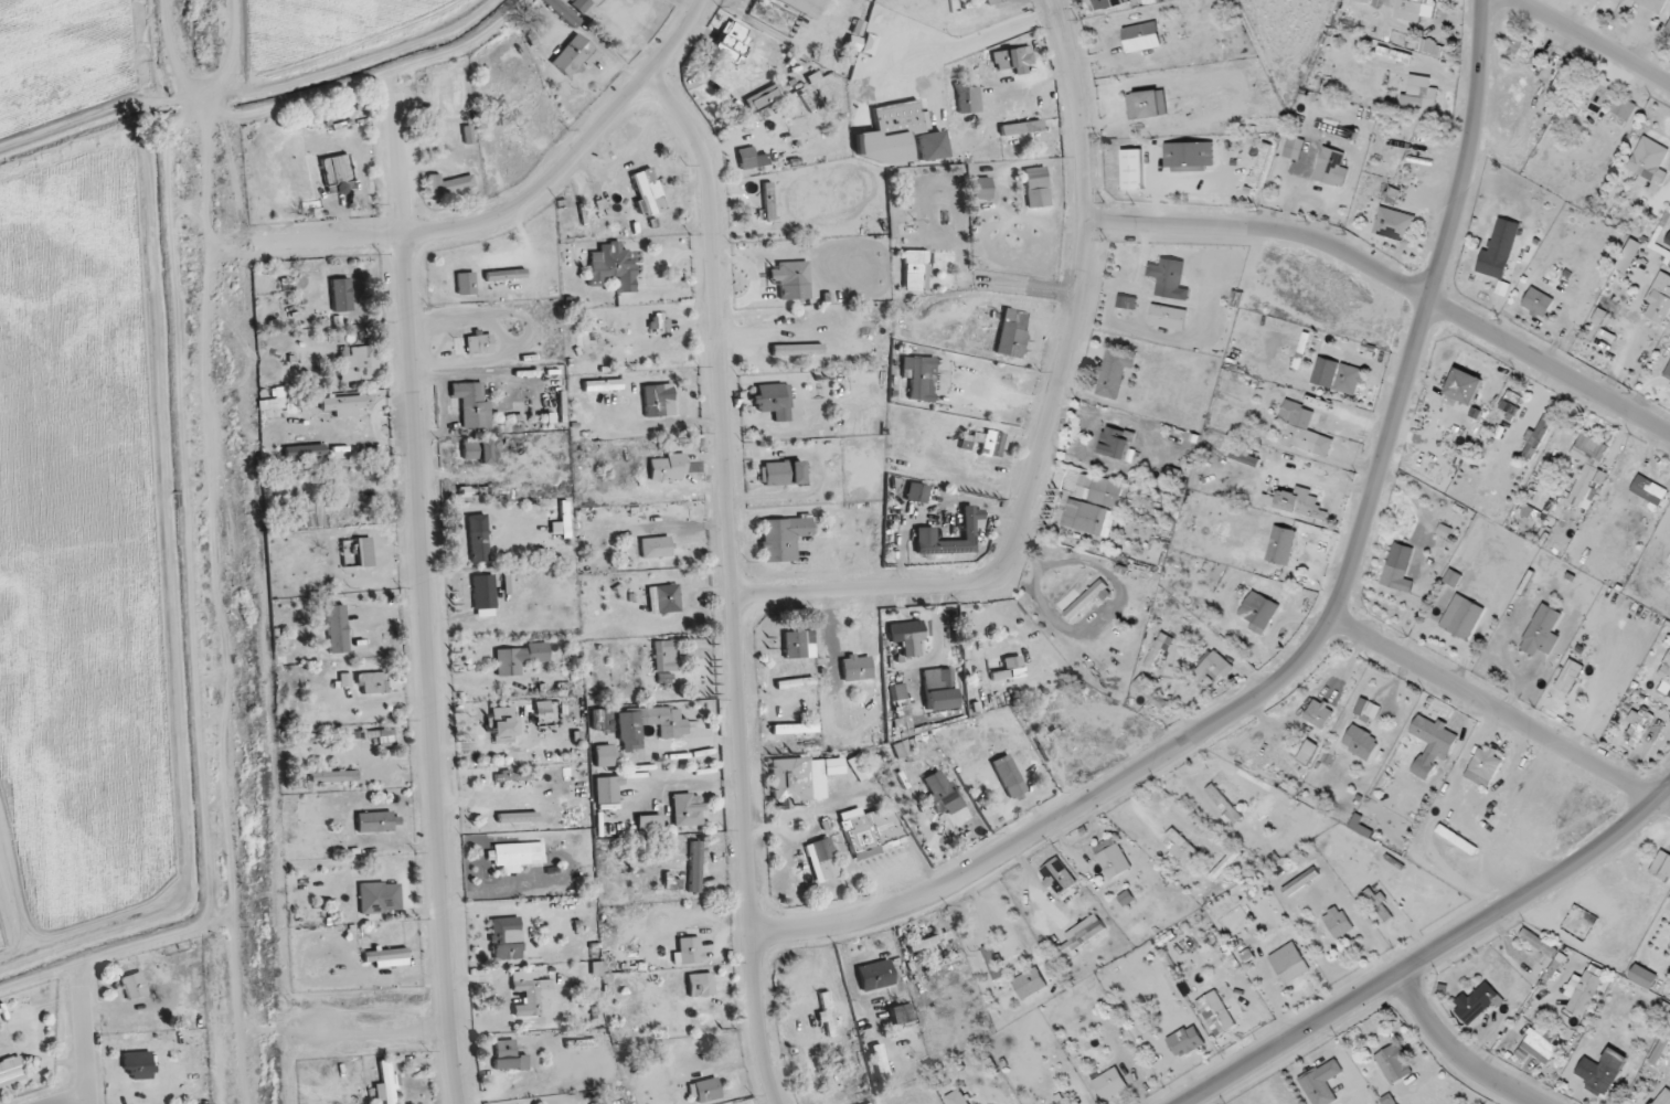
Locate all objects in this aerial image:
building: (1609, 0)
building: (1364, 1)
building: (1104, 3)
building: (581, 4)
building: (1653, 4)
building: (806, 6)
building: (1414, 9)
building: (562, 11)
building: (1140, 36)
building: (732, 40)
road: (979, 40)
road: (1591, 42)
building: (868, 45)
building: (1520, 49)
building: (572, 54)
building: (1012, 57)
building: (1419, 93)
building: (763, 96)
building: (967, 99)
building: (1604, 99)
building: (1145, 105)
building: (900, 119)
building: (1021, 127)
building: (930, 145)
building: (1294, 148)
building: (1188, 155)
building: (746, 157)
building: (1261, 164)
building: (1331, 167)
building: (336, 169)
building: (1131, 169)
building: (448, 183)
building: (1036, 185)
building: (981, 188)
building: (647, 192)
building: (1391, 195)
building: (781, 199)
road: (522, 205)
building: (1394, 224)
building: (1499, 250)
building: (1628, 255)
building: (613, 267)
building: (1168, 277)
building: (791, 278)
road: (1392, 279)
building: (466, 282)
building: (332, 286)
building: (1659, 300)
building: (1538, 302)
building: (1168, 316)
building: (1012, 336)
building: (479, 343)
road: (1628, 343)
building: (797, 349)
building: (359, 362)
building: (1668, 373)
building: (1111, 374)
building: (1344, 376)
building: (922, 379)
building: (1464, 388)
road: (1006, 393)
building: (659, 400)
building: (774, 400)
building: (1511, 403)
building: (472, 404)
building: (344, 405)
road: (1050, 420)
building: (1299, 427)
building: (1538, 436)
building: (986, 442)
building: (1114, 442)
building: (469, 449)
building: (305, 450)
building: (485, 450)
building: (1244, 457)
building: (668, 467)
building: (1587, 470)
building: (781, 473)
building: (1105, 490)
building: (1648, 490)
building: (917, 492)
building: (1300, 502)
building: (1084, 517)
building: (784, 537)
building: (478, 538)
building: (942, 543)
building: (1281, 544)
building: (656, 546)
building: (364, 549)
road: (734, 582)
building: (485, 594)
building: (664, 597)
road: (426, 598)
building: (1086, 598)
building: (1258, 609)
building: (1461, 616)
building: (337, 628)
building: (1542, 630)
road: (1322, 633)
building: (907, 637)
building: (799, 644)
building: (664, 656)
building: (519, 657)
building: (857, 667)
building: (1006, 668)
building: (1210, 668)
building: (1666, 672)
building: (1568, 676)
building: (372, 682)
building: (1155, 697)
building: (1368, 708)
building: (1318, 713)
road: (1501, 714)
building: (504, 724)
building: (648, 724)
building: (1637, 726)
building: (384, 736)
building: (1361, 742)
building: (1432, 743)
building: (1043, 744)
building: (605, 755)
building: (1483, 766)
building: (860, 767)
building: (1010, 775)
building: (334, 776)
building: (804, 777)
building: (943, 793)
building: (1224, 803)
building: (687, 808)
building: (523, 819)
building: (375, 821)
building: (649, 822)
building: (874, 832)
building: (515, 854)
building: (823, 859)
building: (1661, 866)
building: (695, 867)
building: (1057, 875)
road: (1035, 882)
building: (380, 896)
building: (1337, 922)
building: (1083, 933)
building: (506, 937)
building: (930, 941)
building: (691, 949)
road: (1432, 953)
building: (385, 954)
building: (992, 962)
building: (1291, 965)
building: (875, 975)
building: (1642, 976)
building: (1031, 981)
building: (701, 984)
building: (135, 985)
building: (532, 995)
building: (1476, 1001)
building: (1215, 1012)
building: (900, 1013)
building: (828, 1016)
building: (149, 1020)
building: (1185, 1040)
building: (1539, 1044)
road: (84, 1045)
building: (683, 1049)
building: (1659, 1049)
road: (1455, 1052)
building: (509, 1055)
building: (881, 1061)
building: (1393, 1063)
building: (1608, 1069)
building: (11, 1070)
building: (146, 1073)
building: (389, 1081)
building: (1321, 1082)
building: (1110, 1083)
building: (706, 1089)
building: (1663, 1097)

